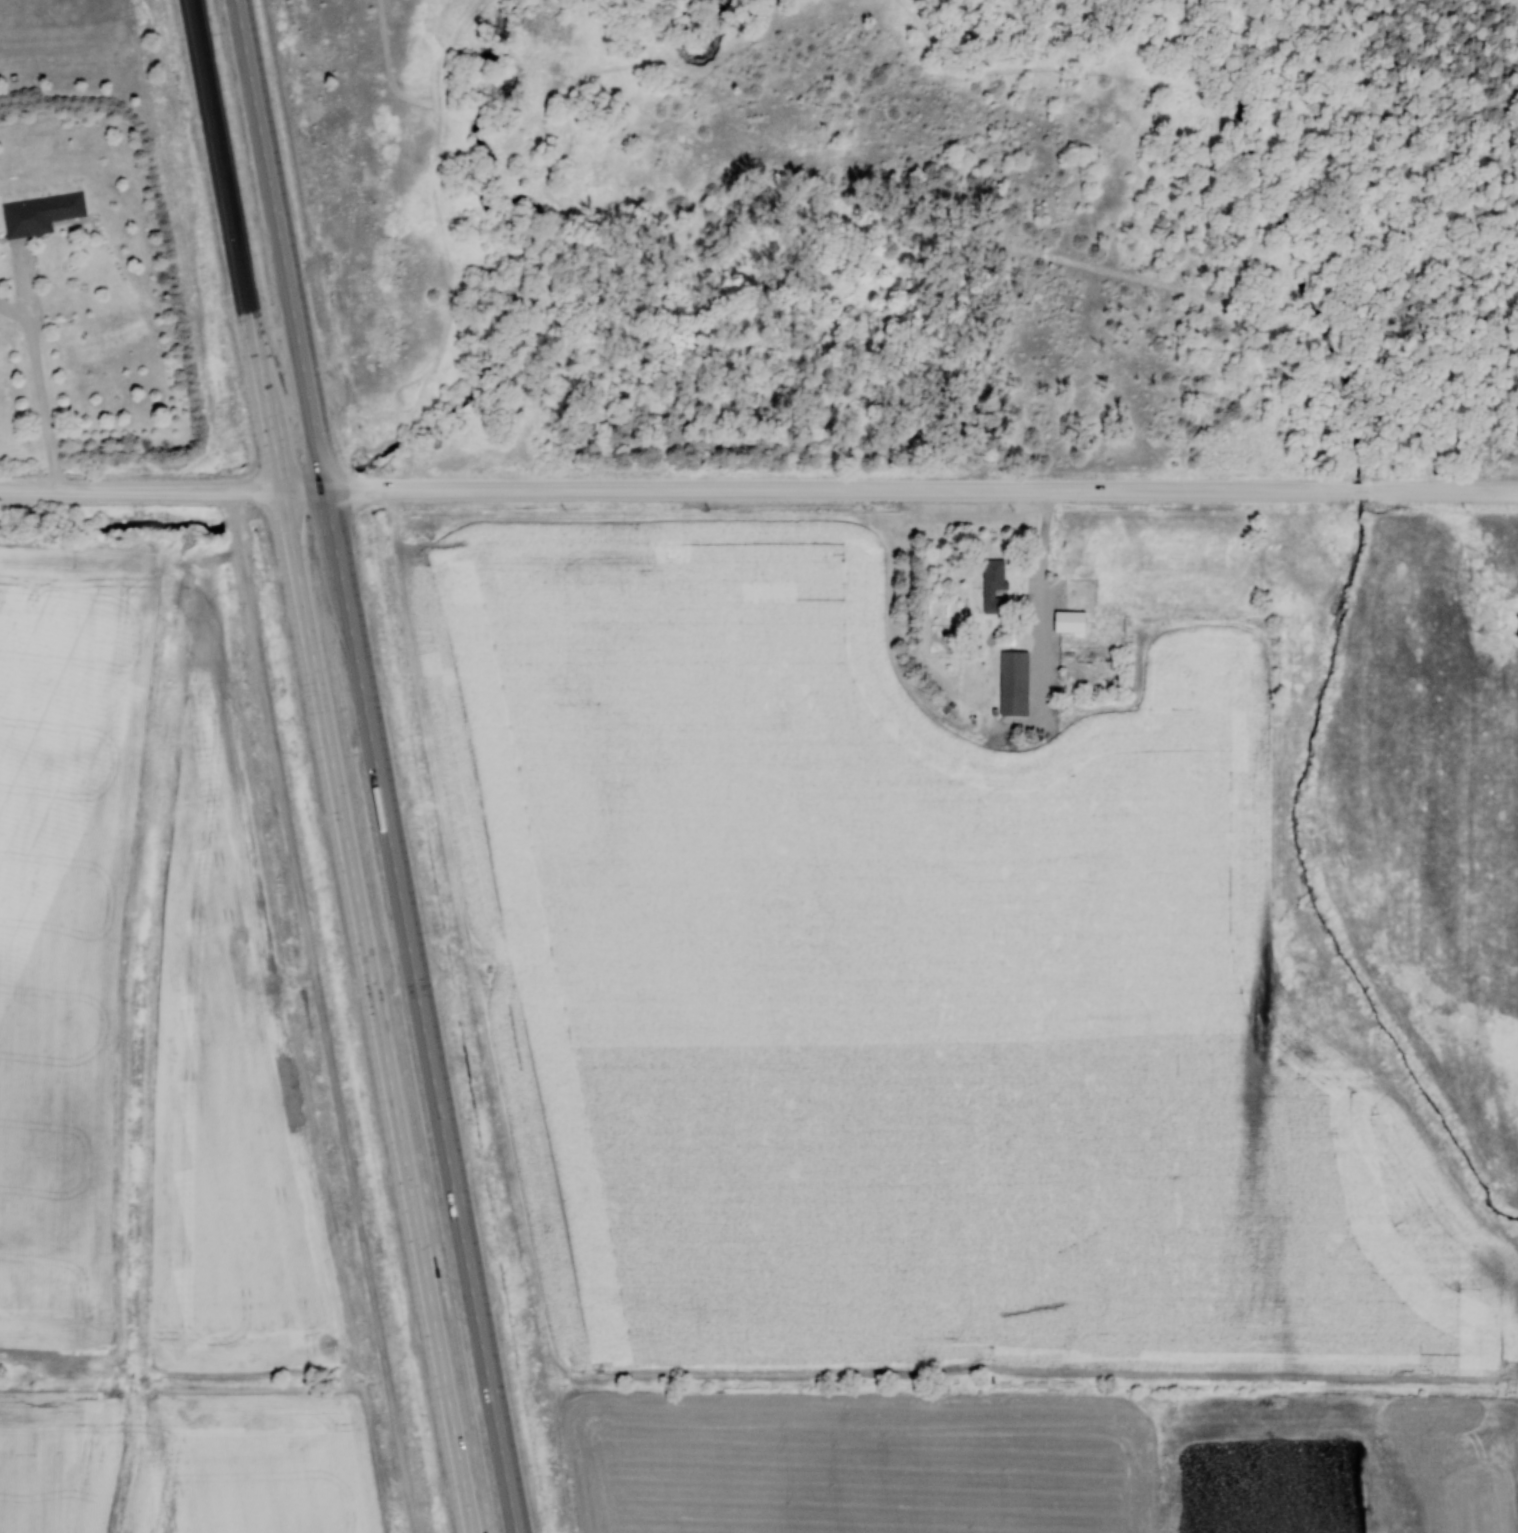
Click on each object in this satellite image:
building: (40, 212)
road: (1333, 235)
road: (280, 244)
park: (644, 244)
road: (458, 281)
road: (863, 315)
road: (39, 369)
road: (111, 489)
road: (1282, 490)
building: (993, 583)
road: (1039, 601)
building: (1069, 620)
park: (1361, 625)
building: (1013, 682)
road: (323, 1010)
road: (422, 1011)

